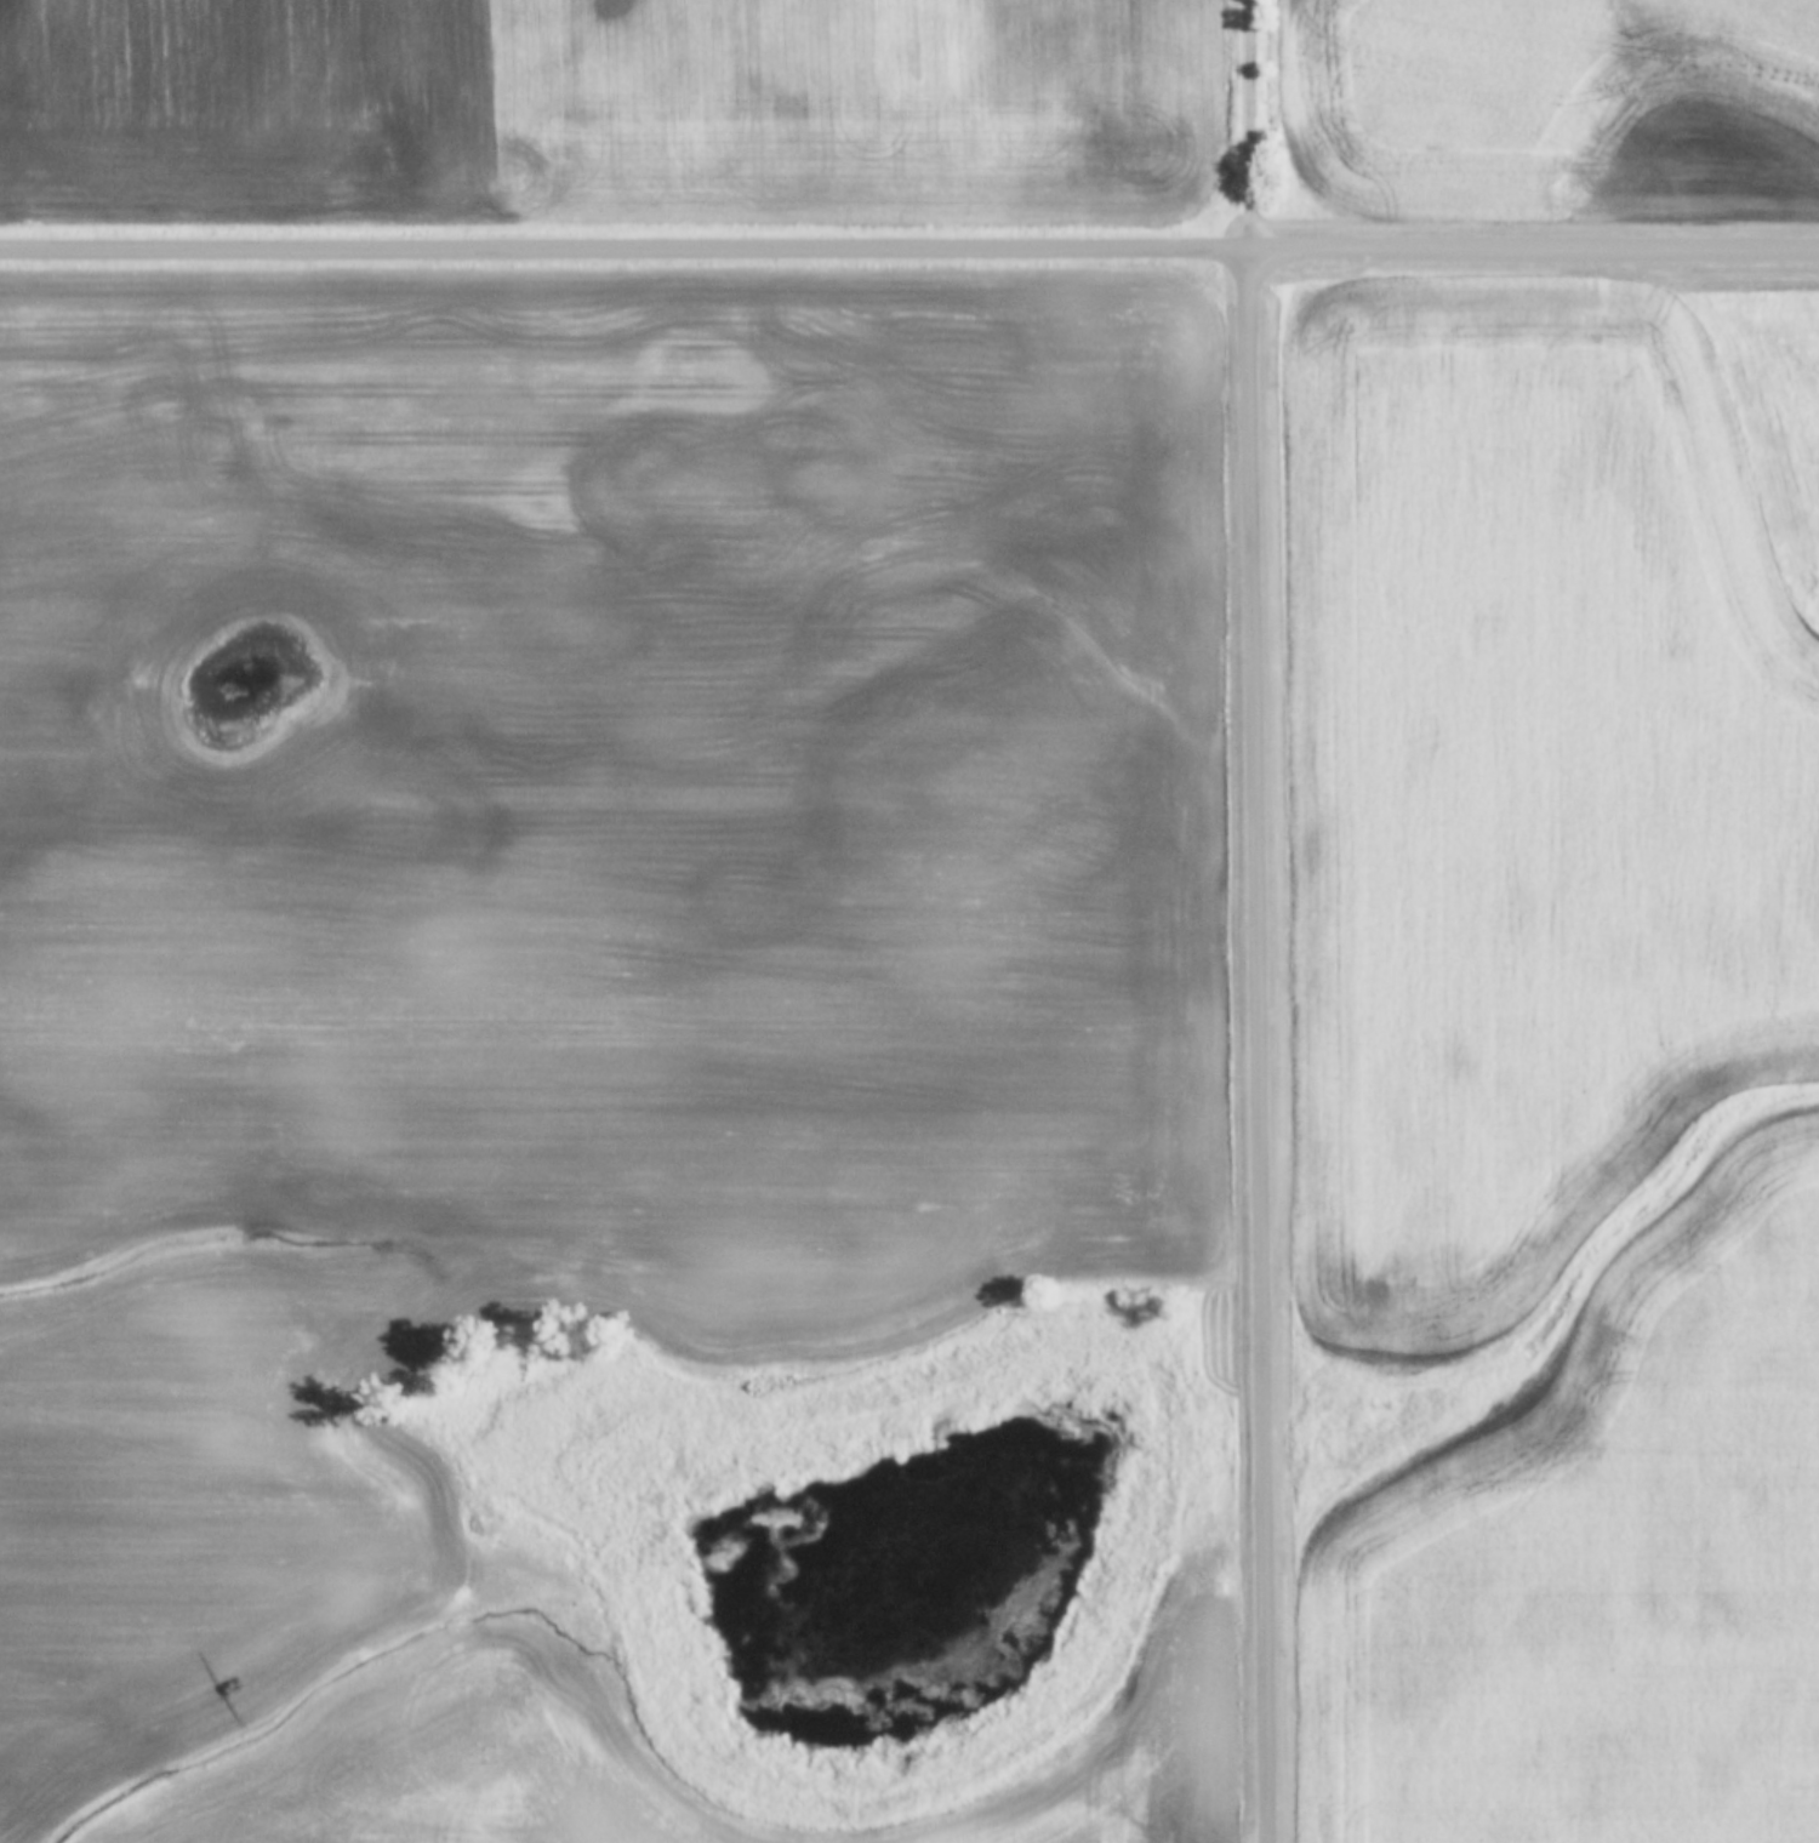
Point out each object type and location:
road: (1255, 126)
road: (909, 253)
road: (1265, 1048)

